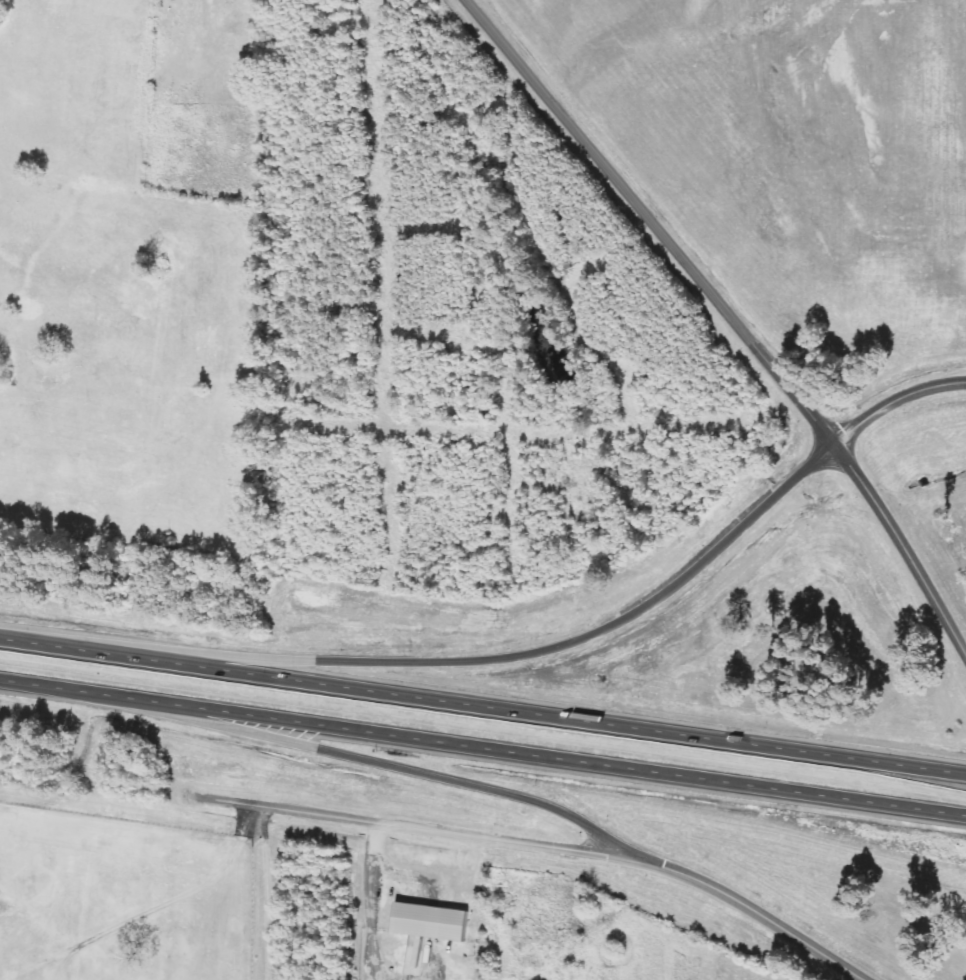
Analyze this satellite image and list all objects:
road: (728, 314)
road: (895, 399)
road: (487, 658)
road: (482, 705)
road: (482, 749)
road: (375, 761)
road: (431, 830)
road: (765, 918)
building: (429, 921)

